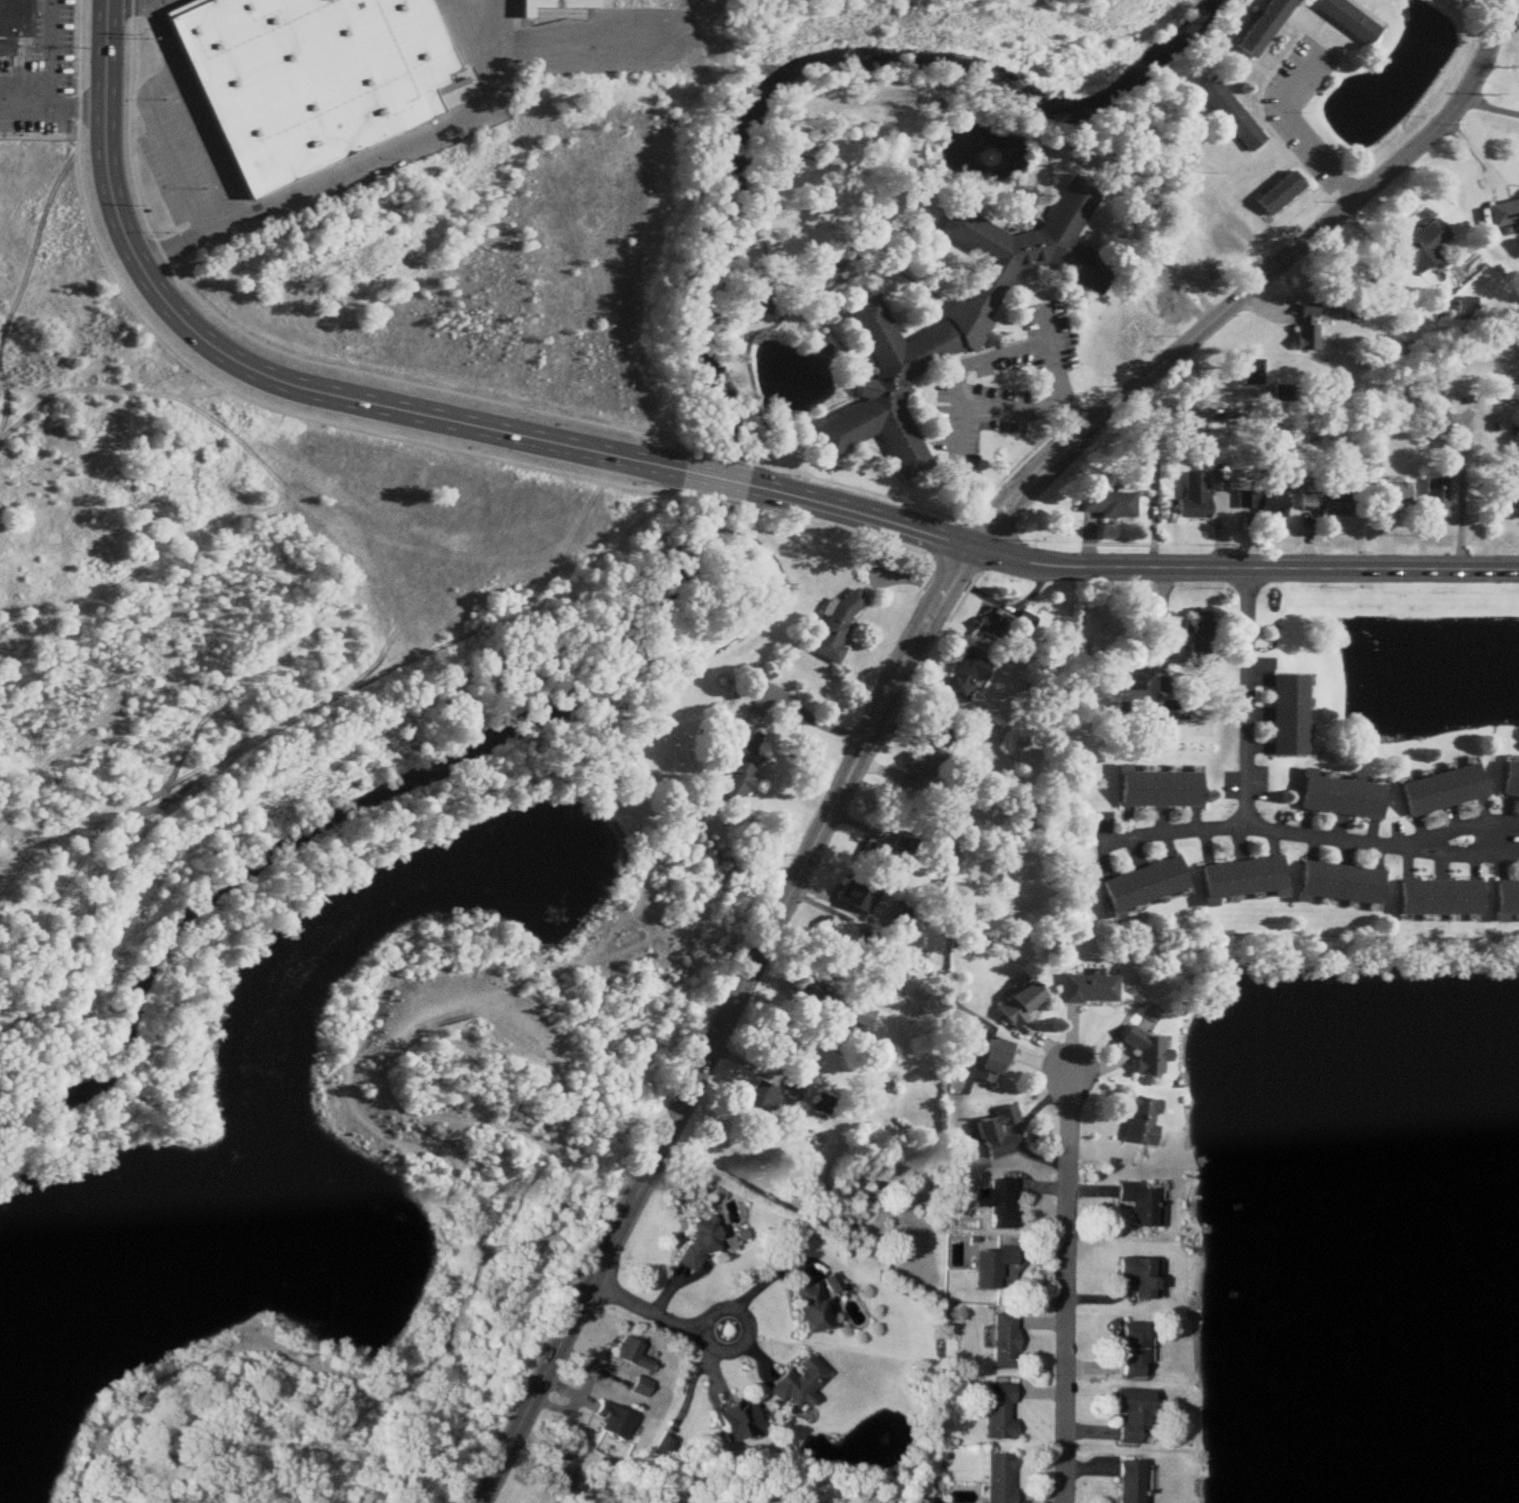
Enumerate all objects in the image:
road: (163, 1)
road: (154, 4)
road: (125, 6)
building: (552, 6)
parking lot: (162, 7)
road: (505, 16)
building: (1351, 17)
parking lot: (475, 22)
building: (1258, 24)
building: (15, 25)
road: (465, 25)
road: (618, 34)
road: (164, 35)
road: (495, 41)
parking lot: (40, 75)
road: (51, 75)
building: (314, 79)
road: (1490, 107)
road: (79, 110)
building: (1233, 112)
parking lot: (1281, 115)
road: (1285, 119)
road: (207, 136)
road: (162, 139)
parking lot: (185, 151)
fountain: (991, 157)
road: (320, 184)
building: (1194, 187)
building: (1280, 188)
road: (1346, 189)
road: (241, 213)
building: (1503, 213)
road: (202, 230)
building: (1422, 247)
building: (1227, 250)
road: (583, 257)
building: (762, 305)
building: (1463, 308)
building: (959, 312)
building: (1306, 314)
road: (754, 329)
building: (1136, 336)
building: (1304, 339)
road: (283, 349)
road: (1053, 353)
road: (966, 364)
road: (258, 373)
building: (1251, 373)
fountain: (798, 376)
parking lot: (1008, 383)
road: (111, 389)
road: (2, 408)
road: (1012, 412)
road: (1072, 415)
building: (1434, 424)
road: (382, 430)
road: (725, 459)
road: (716, 482)
building: (1505, 492)
road: (1460, 495)
building: (1194, 499)
building: (1389, 499)
building: (1433, 501)
road: (297, 504)
building: (1261, 504)
building: (1321, 504)
building: (1112, 505)
road: (862, 516)
road: (951, 517)
road: (1243, 569)
road: (954, 610)
building: (995, 624)
building: (838, 627)
building: (1202, 637)
road: (375, 662)
building: (971, 673)
road: (899, 678)
road: (1250, 697)
building: (1288, 715)
road: (286, 725)
building: (939, 731)
building: (742, 764)
building: (923, 767)
building: (1508, 780)
building: (1162, 789)
building: (1439, 790)
building: (1336, 795)
road: (433, 812)
road: (75, 824)
road: (1304, 833)
building: (892, 852)
building: (1242, 880)
building: (1336, 883)
building: (1147, 885)
building: (860, 898)
building: (1435, 898)
building: (1504, 901)
building: (904, 923)
building: (843, 933)
building: (1092, 990)
building: (810, 999)
building: (1025, 1005)
building: (861, 1015)
building: (1152, 1053)
building: (994, 1063)
building: (796, 1090)
building: (763, 1100)
building: (826, 1105)
road: (549, 1115)
building: (1145, 1121)
road: (1013, 1132)
building: (1000, 1133)
building: (1005, 1203)
building: (1146, 1203)
road: (577, 1241)
building: (704, 1243)
road: (478, 1258)
building: (995, 1266)
road: (1067, 1276)
building: (1145, 1276)
building: (836, 1283)
road: (758, 1287)
building: (816, 1308)
road: (660, 1312)
building: (1007, 1340)
building: (1139, 1350)
building: (637, 1353)
road: (194, 1362)
building: (804, 1383)
building: (646, 1386)
building: (1004, 1410)
building: (1138, 1414)
building: (742, 1419)
building: (619, 1420)
road: (247, 1436)
building: (1003, 1478)
building: (1135, 1481)

